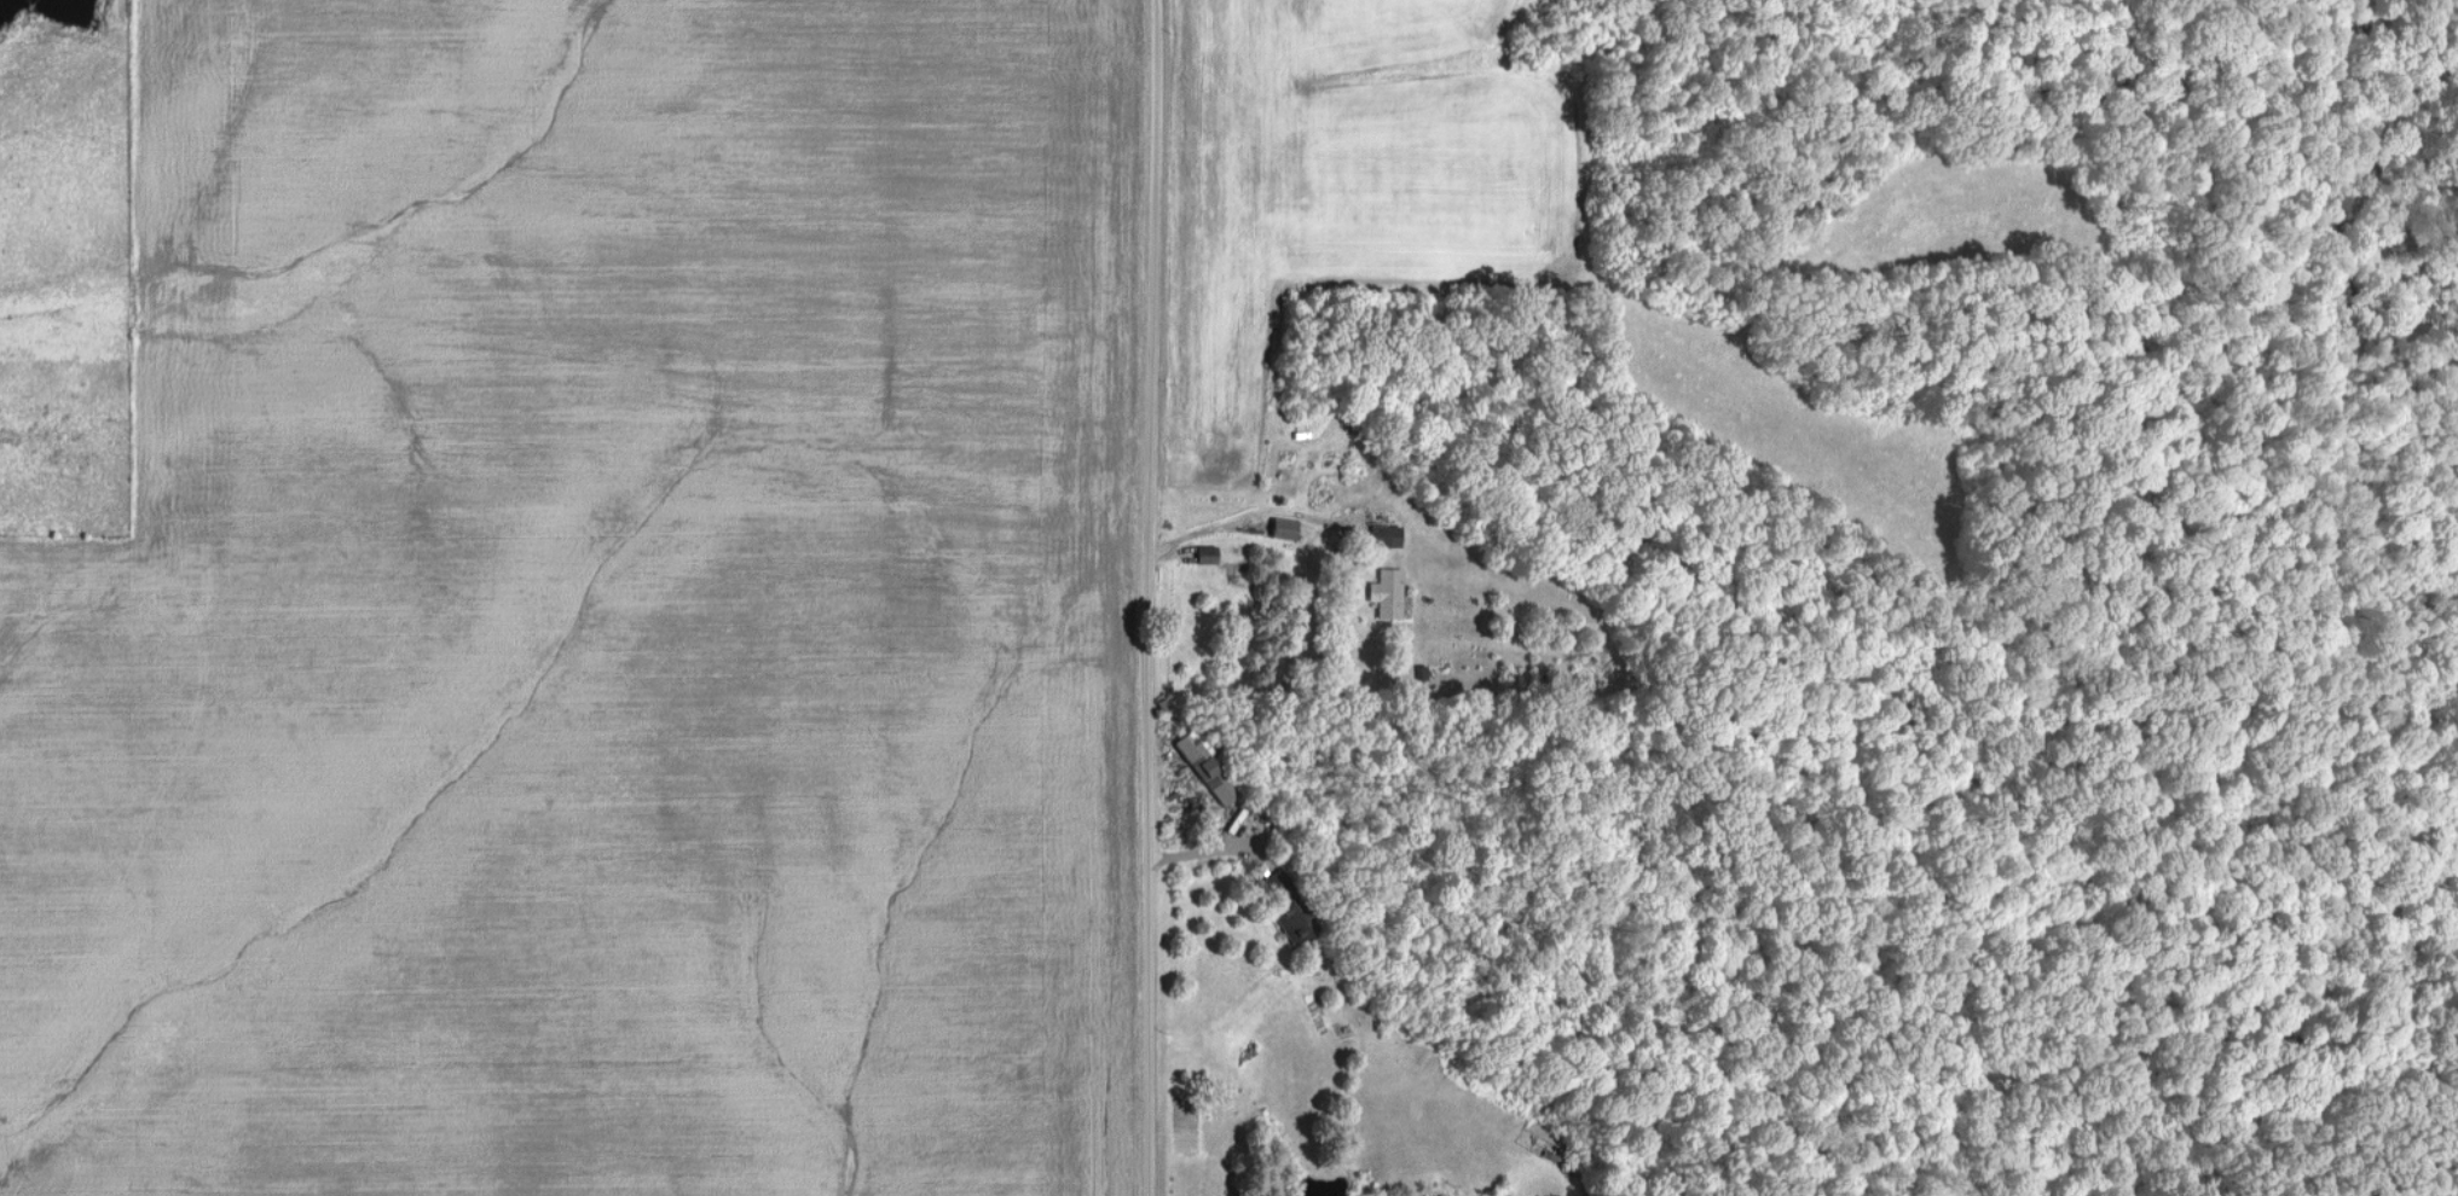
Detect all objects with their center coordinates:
building: (1282, 527)
building: (1383, 534)
building: (1205, 552)
building: (1387, 591)
road: (1153, 598)
building: (1205, 766)
building: (1277, 884)
building: (1292, 919)

